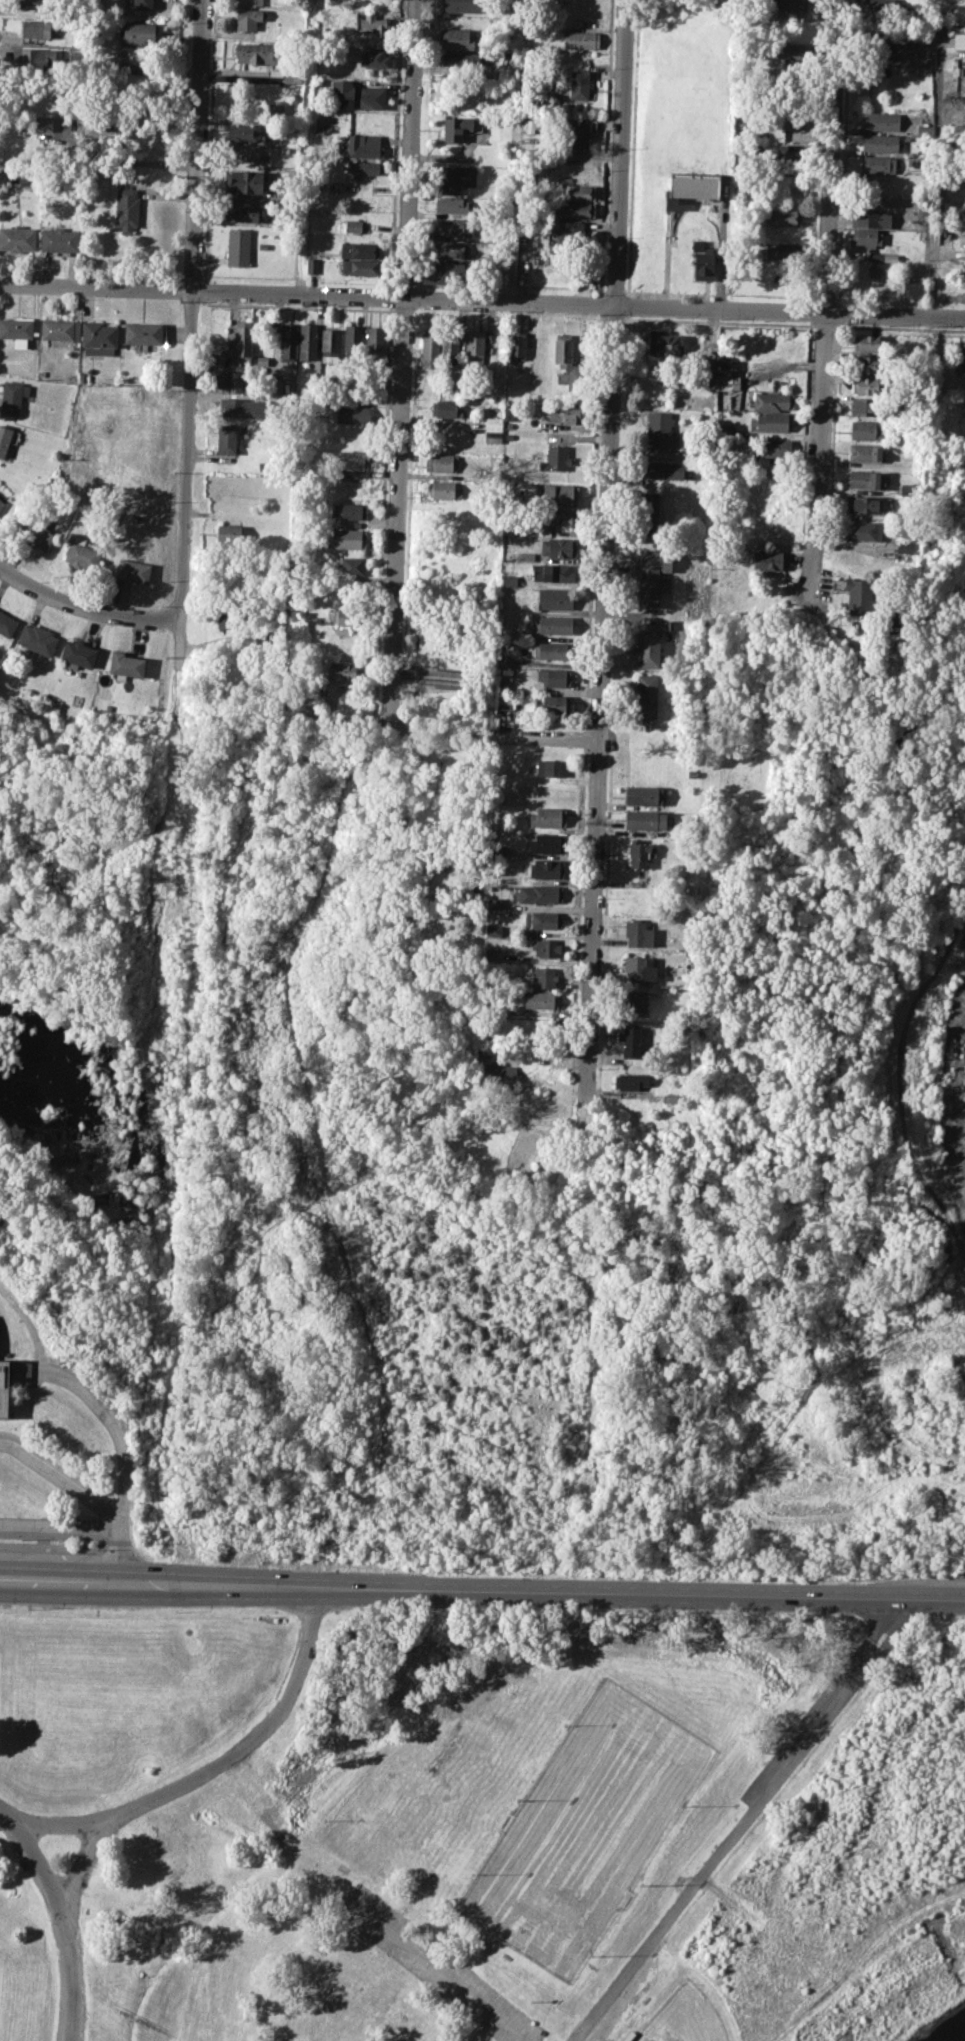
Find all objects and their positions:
building: (536, 1)
building: (249, 2)
building: (31, 3)
building: (141, 4)
building: (462, 5)
building: (788, 5)
building: (884, 5)
building: (249, 18)
building: (374, 23)
building: (35, 29)
building: (138, 32)
building: (459, 39)
building: (881, 39)
building: (959, 39)
building: (580, 40)
building: (789, 51)
building: (255, 53)
building: (33, 55)
building: (508, 55)
building: (370, 57)
building: (926, 57)
building: (460, 60)
building: (292, 74)
building: (504, 78)
building: (579, 84)
building: (355, 95)
building: (881, 120)
building: (43, 122)
building: (781, 124)
building: (532, 125)
building: (99, 127)
building: (320, 127)
building: (460, 128)
building: (924, 129)
building: (245, 131)
building: (577, 134)
building: (881, 142)
building: (358, 148)
building: (245, 151)
road: (935, 157)
building: (881, 164)
building: (363, 168)
building: (25, 177)
building: (456, 177)
building: (247, 181)
building: (691, 188)
building: (575, 192)
building: (452, 204)
building: (573, 210)
building: (126, 211)
building: (242, 212)
building: (782, 216)
building: (872, 218)
building: (352, 225)
building: (455, 227)
building: (568, 233)
building: (866, 236)
building: (963, 236)
building: (17, 238)
building: (59, 239)
road: (723, 242)
building: (263, 245)
building: (237, 246)
building: (359, 249)
building: (447, 250)
building: (783, 250)
building: (889, 257)
building: (312, 264)
building: (703, 264)
building: (358, 266)
building: (873, 269)
building: (443, 272)
building: (913, 289)
road: (482, 300)
road: (825, 300)
building: (17, 329)
building: (59, 330)
building: (142, 332)
building: (98, 337)
building: (353, 338)
building: (375, 339)
building: (288, 340)
building: (308, 340)
building: (243, 342)
building: (866, 342)
building: (662, 343)
building: (329, 344)
building: (449, 344)
building: (516, 346)
building: (430, 348)
building: (474, 349)
building: (563, 349)
road: (403, 358)
building: (262, 359)
building: (964, 360)
building: (866, 364)
building: (708, 372)
building: (216, 378)
building: (575, 381)
building: (234, 382)
building: (275, 385)
building: (866, 385)
building: (10, 397)
building: (771, 401)
building: (866, 406)
building: (242, 407)
building: (446, 408)
building: (564, 413)
building: (352, 415)
building: (771, 422)
building: (492, 424)
building: (724, 429)
building: (658, 430)
building: (867, 430)
road: (186, 434)
building: (5, 438)
building: (226, 439)
building: (769, 446)
building: (865, 452)
building: (555, 459)
building: (352, 461)
building: (442, 462)
building: (661, 470)
building: (350, 473)
building: (866, 479)
building: (907, 488)
building: (444, 489)
building: (559, 493)
building: (2, 503)
building: (866, 504)
building: (349, 510)
building: (650, 510)
road: (605, 515)
building: (135, 518)
building: (560, 518)
building: (508, 528)
building: (37, 530)
building: (863, 530)
building: (229, 531)
building: (346, 539)
building: (558, 547)
building: (904, 547)
building: (81, 556)
building: (524, 557)
building: (769, 559)
building: (350, 566)
building: (132, 570)
building: (553, 573)
building: (651, 574)
building: (509, 580)
building: (860, 592)
building: (555, 598)
road: (85, 607)
building: (348, 617)
building: (230, 618)
building: (7, 623)
building: (553, 624)
building: (516, 634)
building: (37, 639)
building: (647, 647)
building: (552, 650)
building: (78, 653)
building: (504, 660)
building: (125, 664)
building: (344, 671)
building: (554, 677)
building: (646, 695)
building: (505, 701)
building: (552, 705)
road: (490, 739)
building: (551, 768)
building: (644, 795)
building: (547, 816)
building: (645, 820)
building: (548, 843)
building: (498, 850)
building: (638, 851)
building: (546, 868)
building: (539, 894)
building: (493, 903)
building: (542, 920)
building: (637, 934)
building: (542, 948)
building: (490, 953)
building: (638, 969)
building: (545, 976)
building: (540, 1000)
building: (635, 1002)
building: (631, 1041)
building: (492, 1068)
building: (632, 1080)
building: (669, 1097)
road: (4, 1221)
building: (4, 1390)
road: (120, 1443)
road: (62, 1467)
road: (62, 1478)
road: (62, 1523)
road: (56, 1533)
road: (43, 1539)
road: (51, 1546)
street lamp: (95, 1550)
street lamp: (260, 1562)
road: (482, 1590)
street lamp: (358, 1607)
street lamp: (28, 1608)
street lamp: (474, 1609)
street lamp: (588, 1610)
street lamp: (175, 1611)
street lamp: (703, 1612)
street lamp: (817, 1614)
street lamp: (934, 1617)
road: (154, 1795)
road: (62, 1823)
road: (742, 1823)
park: (479, 1824)
park: (584, 1828)
road: (32, 1857)
parking lot: (437, 1967)
road: (439, 1968)
park: (682, 2018)

